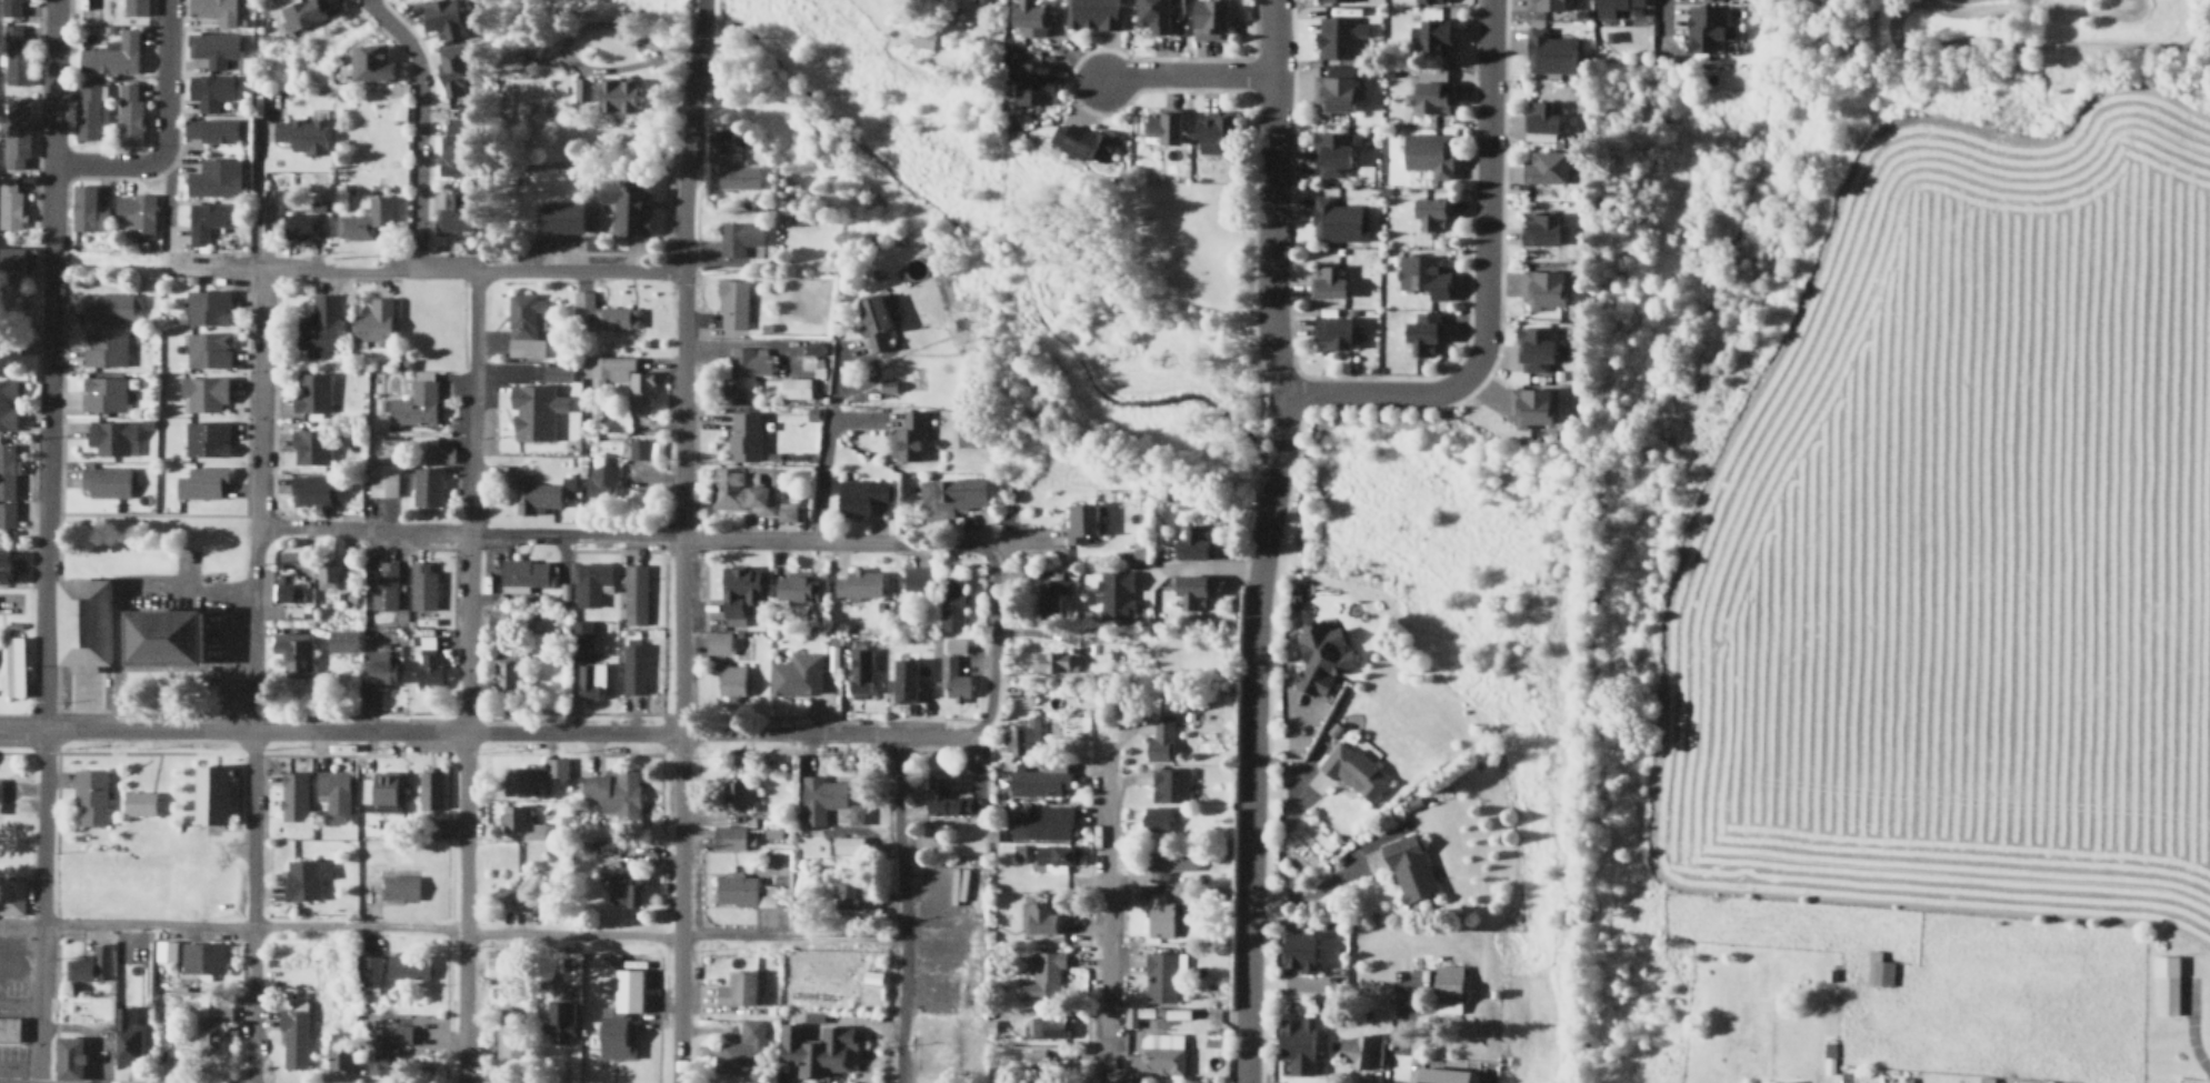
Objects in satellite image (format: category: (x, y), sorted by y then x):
building: (984, 1)
building: (1548, 6)
building: (1608, 6)
building: (12, 8)
building: (137, 8)
building: (299, 10)
building: (217, 11)
building: (1094, 14)
building: (1157, 17)
building: (1032, 18)
building: (1213, 19)
building: (446, 20)
building: (1710, 29)
building: (1429, 31)
building: (1337, 33)
road: (400, 34)
building: (924, 37)
road: (1272, 37)
building: (213, 49)
building: (1552, 52)
building: (113, 56)
road: (570, 56)
building: (14, 58)
building: (507, 59)
building: (368, 60)
building: (448, 67)
road: (1186, 73)
road: (691, 74)
building: (1031, 79)
building: (582, 90)
building: (1337, 90)
building: (211, 92)
building: (620, 96)
building: (1437, 98)
building: (400, 99)
building: (88, 111)
road: (51, 112)
building: (130, 116)
building: (1544, 119)
building: (1167, 127)
building: (211, 130)
building: (17, 132)
road: (164, 132)
building: (1219, 132)
building: (302, 136)
building: (1081, 140)
building: (458, 148)
building: (1333, 152)
building: (1430, 153)
building: (1548, 167)
road: (417, 171)
building: (736, 172)
building: (216, 178)
road: (167, 191)
road: (253, 194)
building: (10, 202)
building: (628, 204)
road: (684, 209)
building: (88, 210)
building: (138, 212)
building: (1433, 213)
building: (564, 218)
building: (1337, 219)
building: (208, 220)
building: (367, 221)
building: (457, 221)
building: (301, 227)
building: (1543, 229)
road: (1270, 235)
building: (739, 237)
building: (12, 258)
road: (231, 263)
road: (548, 268)
road: (339, 270)
park: (1143, 272)
building: (1424, 275)
building: (1331, 282)
road: (1483, 284)
building: (1546, 289)
building: (13, 300)
building: (732, 304)
building: (109, 308)
building: (208, 308)
road: (1236, 311)
building: (602, 313)
building: (376, 321)
building: (877, 321)
building: (320, 327)
building: (524, 333)
building: (1426, 333)
road: (682, 334)
building: (1337, 334)
building: (104, 349)
building: (208, 350)
building: (1538, 350)
building: (812, 355)
building: (746, 370)
building: (558, 371)
building: (621, 380)
building: (798, 388)
building: (312, 392)
building: (104, 394)
building: (204, 394)
road: (260, 398)
building: (416, 403)
building: (8, 405)
building: (533, 408)
building: (1533, 408)
building: (744, 437)
building: (112, 438)
building: (207, 439)
building: (910, 439)
building: (311, 447)
building: (638, 450)
road: (823, 458)
road: (681, 468)
building: (8, 472)
road: (44, 478)
building: (107, 480)
building: (384, 480)
building: (602, 480)
building: (202, 483)
building: (428, 487)
building: (729, 487)
building: (319, 491)
building: (531, 493)
building: (954, 494)
building: (863, 497)
road: (469, 499)
building: (762, 500)
building: (787, 512)
building: (7, 515)
building: (1083, 523)
road: (311, 527)
road: (677, 535)
building: (1197, 543)
building: (3, 564)
building: (528, 573)
building: (327, 574)
building: (920, 579)
building: (592, 582)
road: (681, 582)
building: (859, 584)
building: (384, 585)
building: (424, 586)
building: (798, 588)
road: (116, 590)
building: (289, 590)
building: (741, 590)
building: (1194, 591)
building: (1114, 592)
building: (636, 595)
building: (1052, 595)
building: (952, 603)
building: (79, 622)
building: (152, 633)
road: (992, 641)
building: (580, 642)
building: (344, 643)
building: (718, 643)
building: (957, 646)
building: (1319, 652)
building: (293, 654)
building: (1053, 662)
building: (429, 663)
building: (16, 668)
building: (380, 669)
building: (634, 669)
building: (507, 672)
building: (861, 675)
building: (798, 676)
building: (902, 678)
building: (732, 681)
building: (591, 682)
building: (954, 682)
road: (21, 730)
road: (200, 731)
road: (518, 732)
road: (760, 732)
road: (908, 734)
road: (679, 736)
building: (1161, 736)
building: (1023, 738)
road: (1250, 739)
building: (554, 764)
building: (1357, 770)
building: (518, 779)
building: (1040, 782)
building: (1171, 783)
building: (430, 785)
building: (379, 790)
building: (332, 792)
building: (614, 792)
building: (736, 792)
building: (213, 793)
building: (291, 793)
building: (0, 794)
building: (91, 796)
building: (946, 798)
building: (827, 800)
building: (140, 802)
road: (251, 804)
building: (1158, 818)
building: (519, 819)
building: (1042, 823)
building: (731, 836)
building: (849, 844)
building: (1056, 854)
building: (1168, 863)
building: (1411, 866)
building: (303, 875)
building: (399, 885)
building: (626, 886)
road: (1308, 888)
building: (738, 890)
road: (679, 891)
building: (851, 894)
building: (12, 896)
building: (513, 898)
road: (40, 905)
road: (464, 907)
road: (900, 907)
building: (1161, 913)
building: (1046, 917)
road: (20, 923)
road: (1106, 924)
road: (470, 931)
building: (163, 947)
building: (1297, 949)
building: (201, 955)
building: (90, 961)
building: (406, 964)
building: (12, 966)
road: (926, 967)
building: (1877, 967)
building: (368, 972)
building: (1043, 976)
building: (1162, 976)
building: (2164, 982)
building: (1449, 984)
building: (736, 986)
building: (624, 987)
road: (19, 1001)
road: (678, 1009)
building: (556, 1019)
building: (211, 1020)
building: (1051, 1026)
building: (10, 1027)
building: (507, 1030)
building: (613, 1032)
building: (292, 1033)
building: (126, 1034)
building: (1296, 1042)
building: (383, 1044)
building: (743, 1047)
building: (813, 1047)
building: (954, 1049)
building: (1362, 1050)
building: (1157, 1054)
building: (66, 1055)
building: (338, 1056)
building: (1442, 1074)
building: (1787, 1081)
building: (1982, 1082)
building: (2064, 1082)

